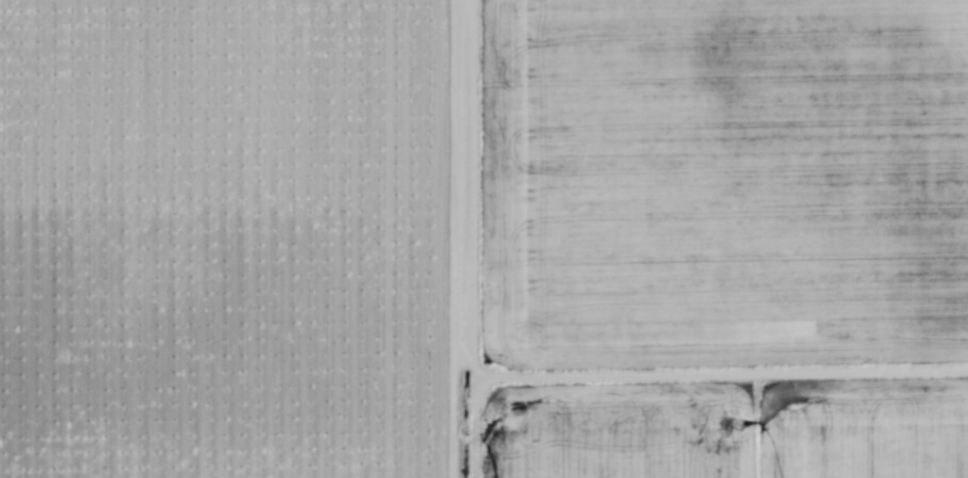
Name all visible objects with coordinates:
road: (456, 238)

